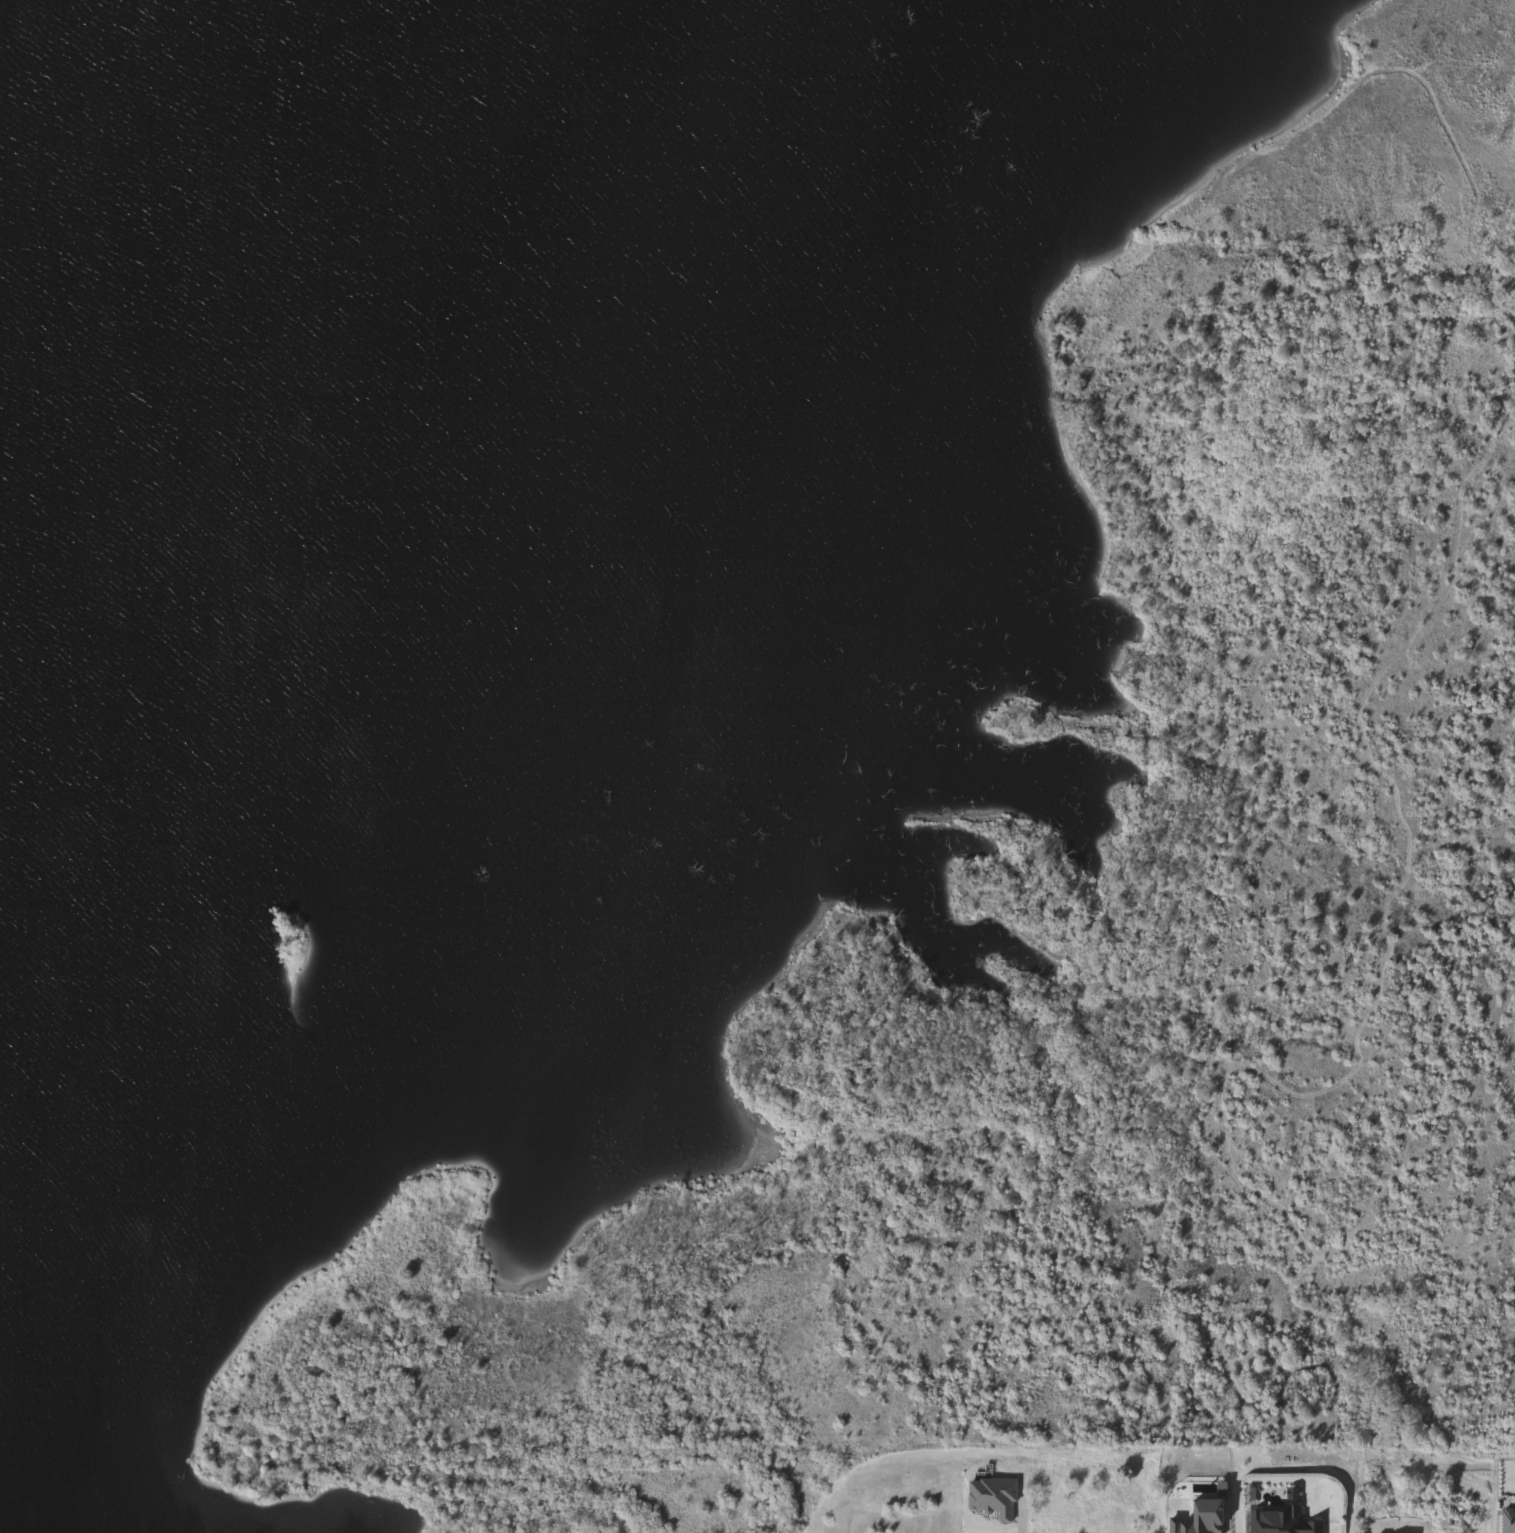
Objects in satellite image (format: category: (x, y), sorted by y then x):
road: (1146, 1452)
road: (1018, 1524)

